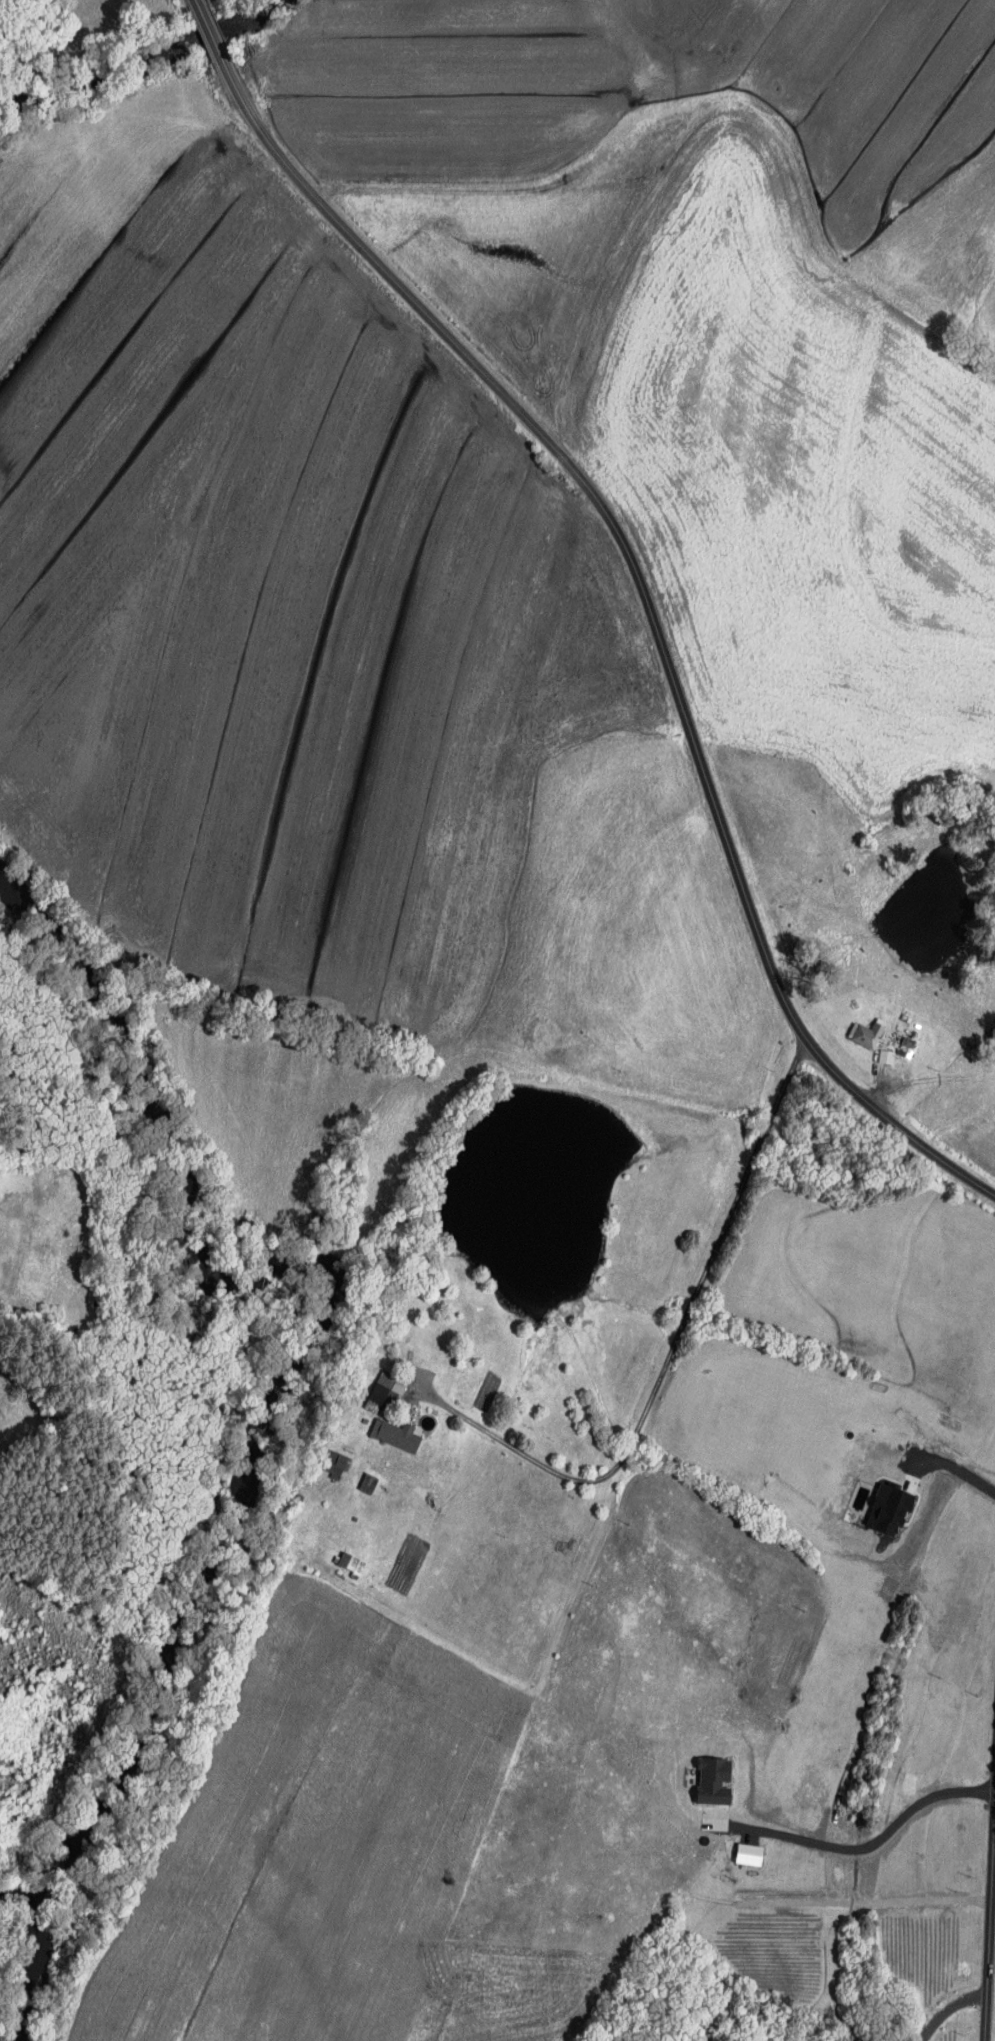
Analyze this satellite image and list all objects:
road: (198, 7)
road: (210, 33)
road: (650, 608)
building: (867, 1034)
building: (886, 1056)
road: (926, 1078)
road: (669, 1358)
building: (387, 1386)
building: (397, 1435)
building: (335, 1464)
road: (963, 1474)
building: (370, 1483)
building: (890, 1508)
building: (716, 1780)
road: (865, 1855)
road: (989, 1905)
road: (952, 2016)

